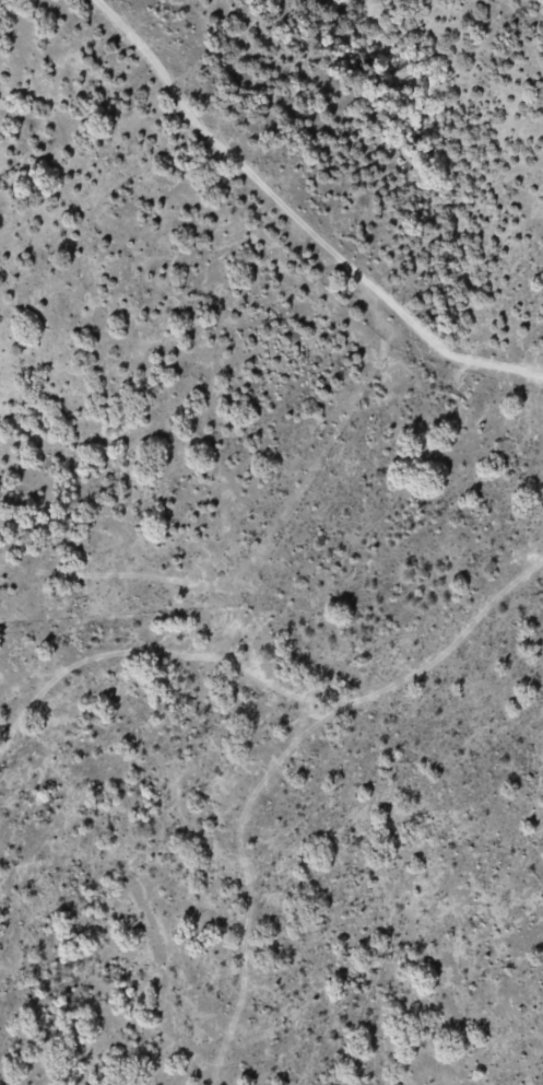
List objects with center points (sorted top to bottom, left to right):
road: (300, 209)

